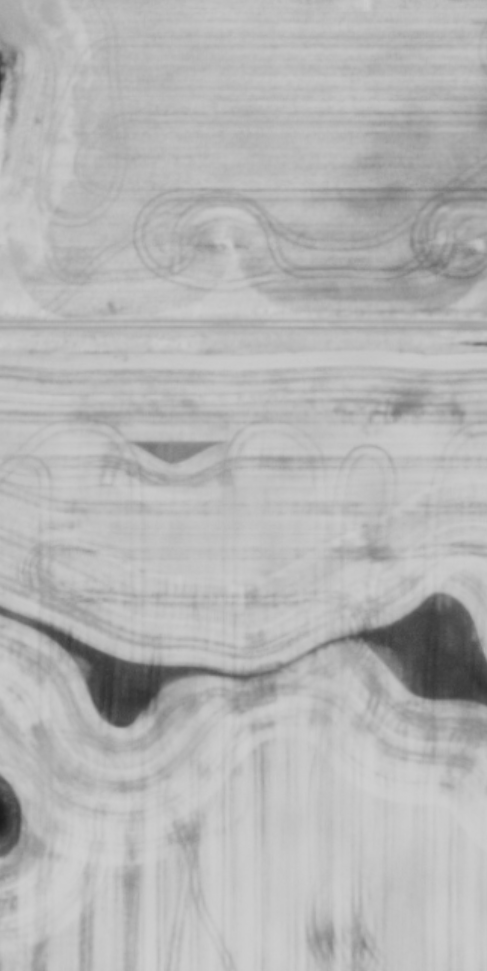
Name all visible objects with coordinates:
road: (243, 322)

